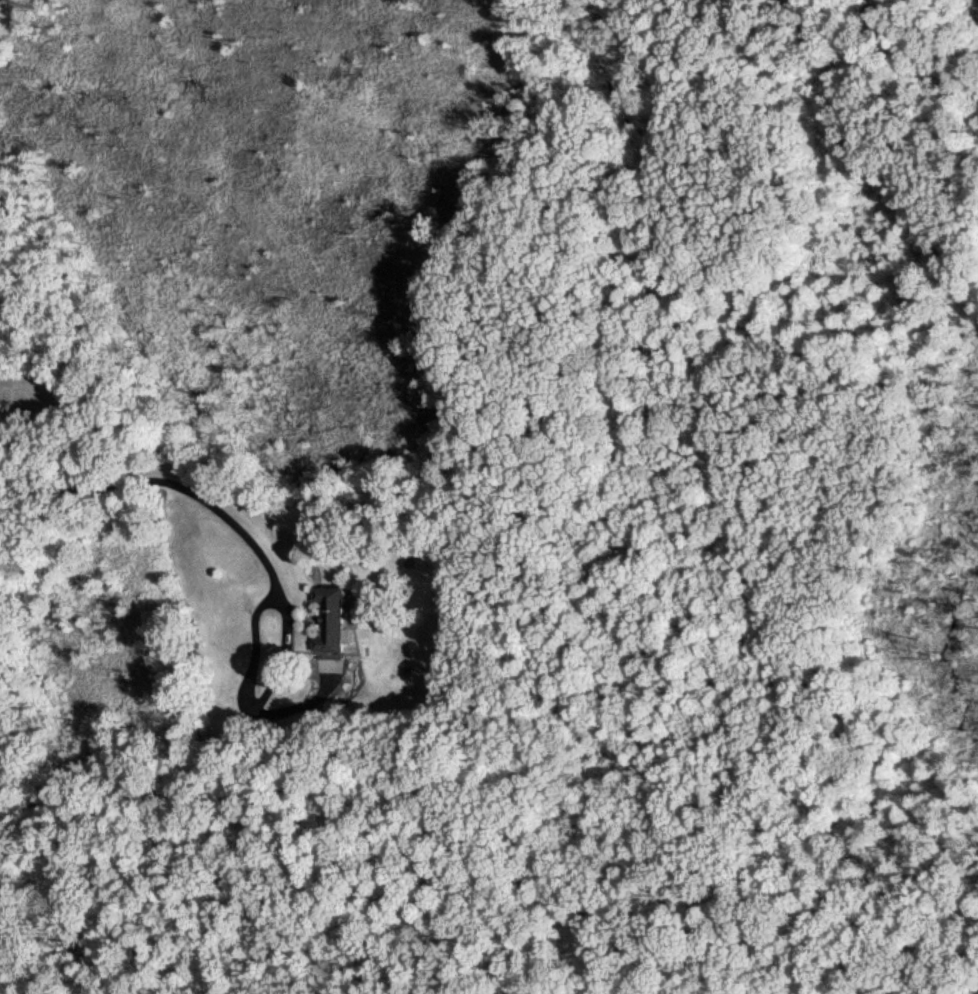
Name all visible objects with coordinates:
building: (330, 618)

